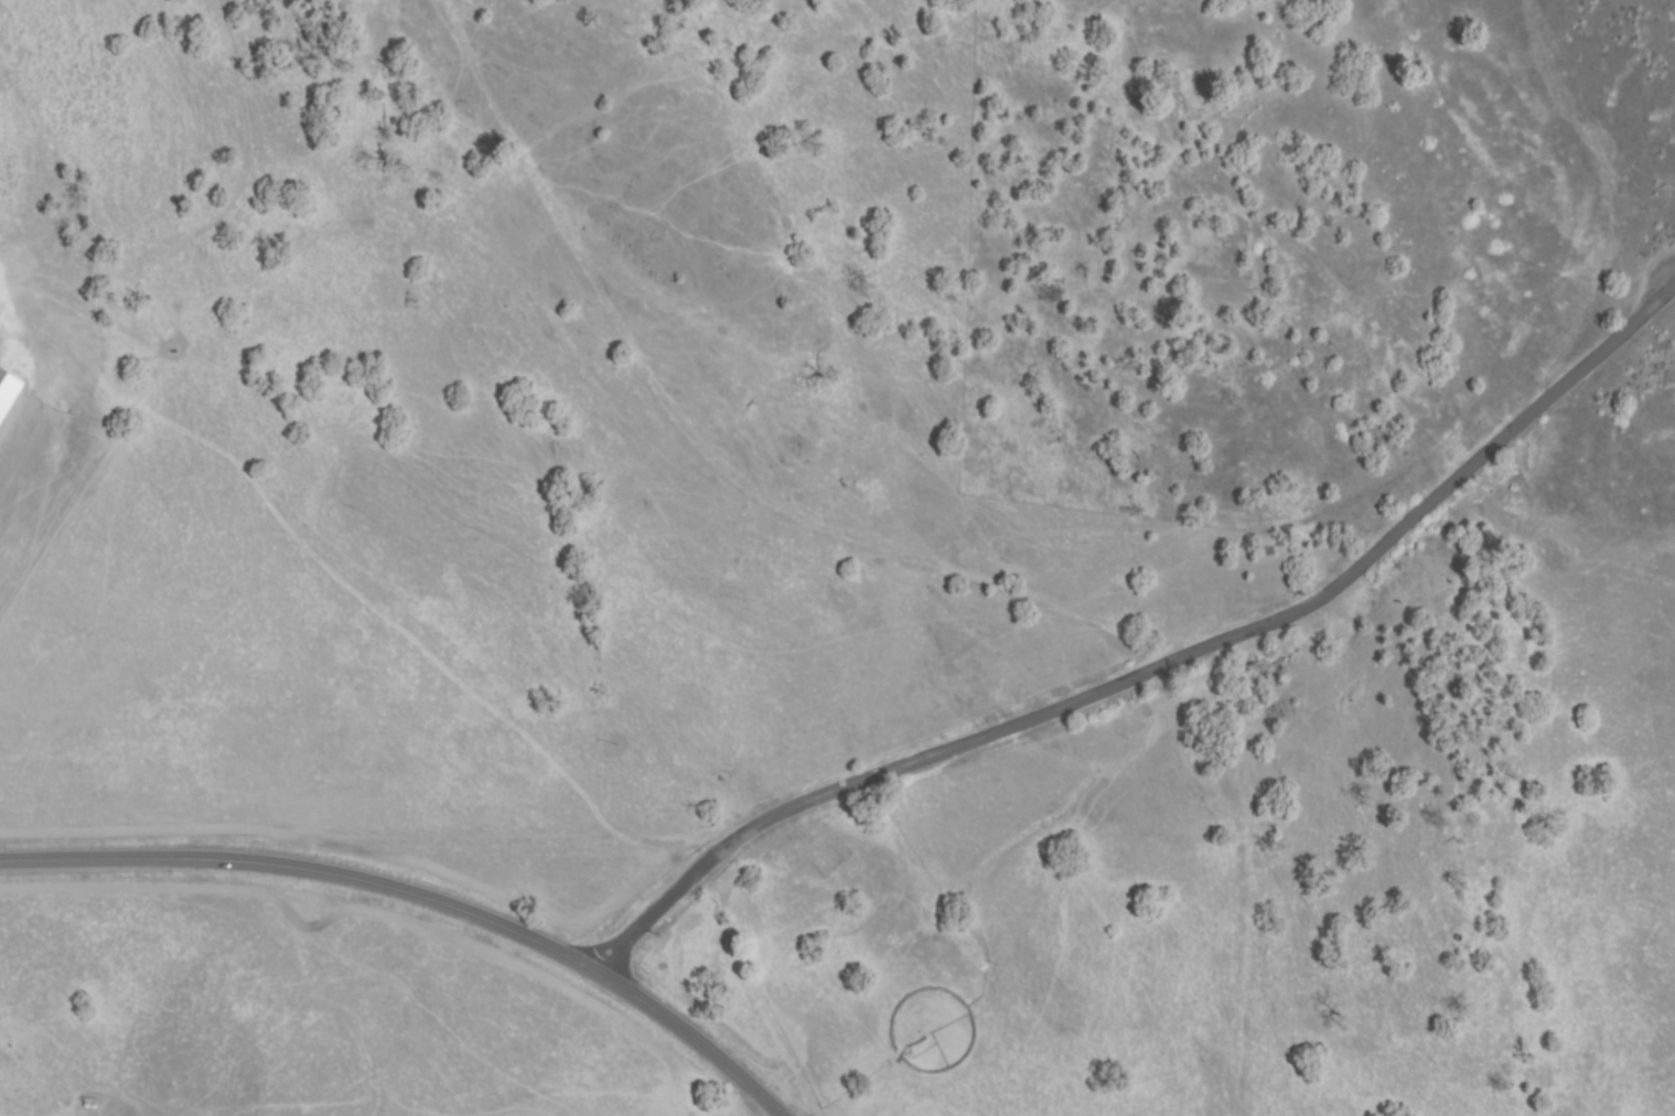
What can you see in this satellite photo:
building: (8, 390)
road: (1153, 651)
road: (421, 893)

